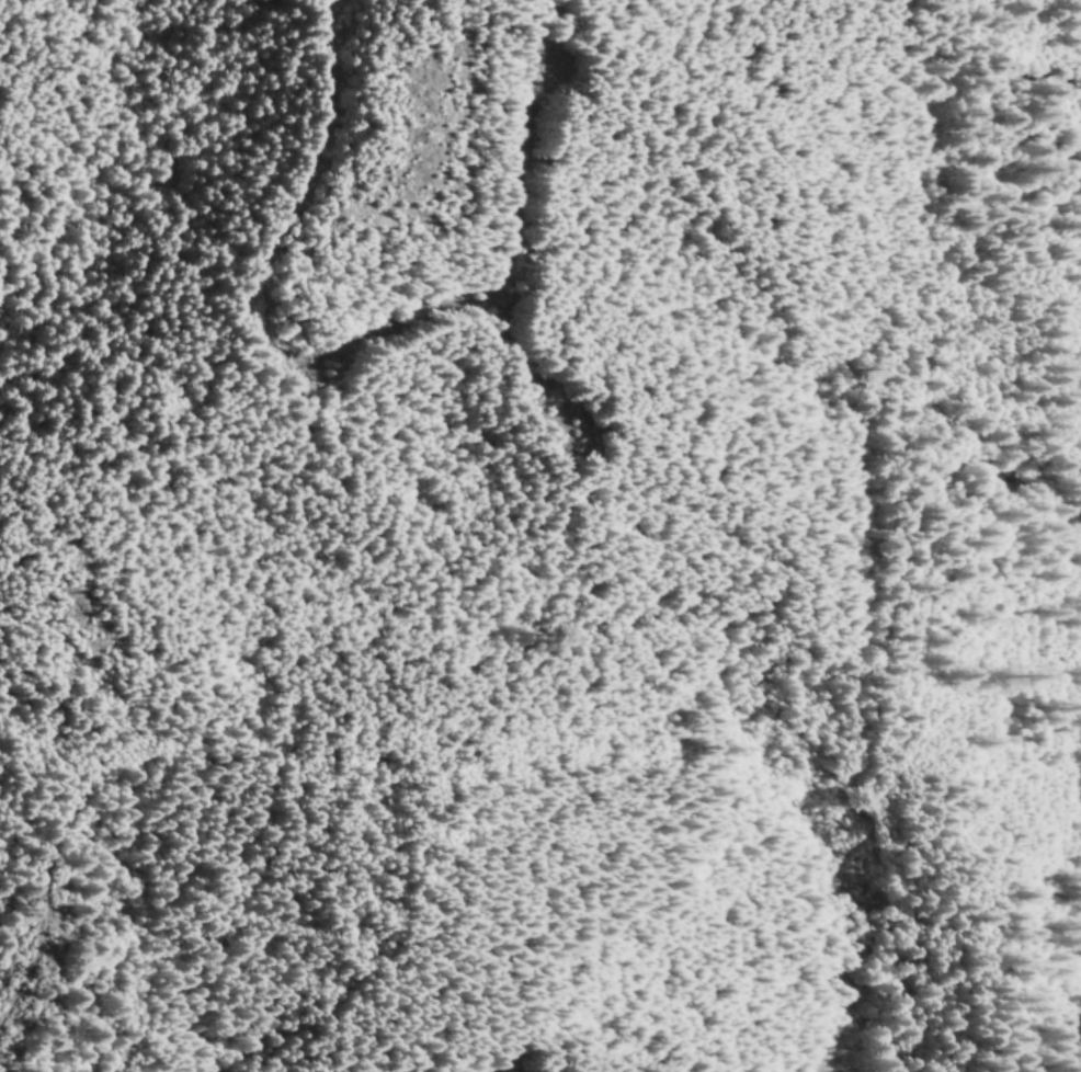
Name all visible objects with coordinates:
road: (762, 896)

